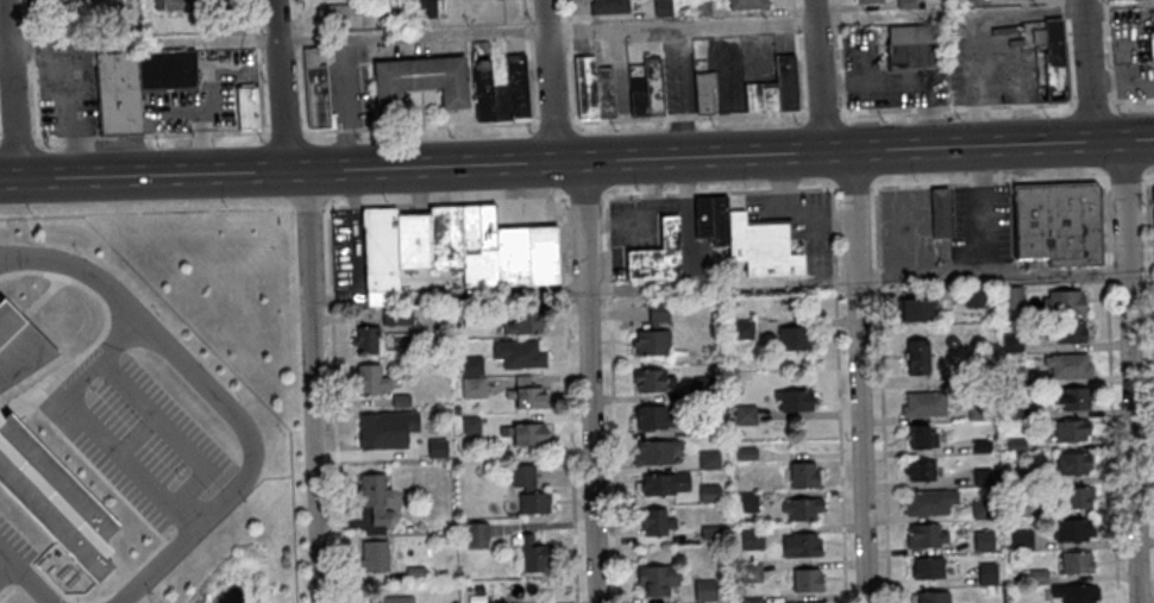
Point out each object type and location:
building: (214, 0)
building: (870, 0)
building: (978, 1)
building: (65, 2)
building: (169, 4)
building: (748, 4)
road: (791, 4)
building: (907, 4)
building: (608, 5)
road: (566, 6)
building: (700, 6)
building: (433, 7)
building: (663, 7)
road: (525, 11)
road: (297, 13)
building: (343, 13)
road: (27, 17)
road: (792, 19)
road: (567, 24)
building: (1153, 24)
road: (681, 27)
road: (526, 30)
road: (299, 36)
road: (409, 37)
building: (912, 44)
road: (30, 45)
building: (1150, 48)
road: (1065, 51)
road: (1108, 51)
building: (1047, 52)
road: (839, 56)
road: (258, 65)
building: (167, 67)
road: (798, 70)
building: (420, 77)
road: (571, 78)
building: (786, 80)
road: (531, 81)
road: (64, 84)
building: (516, 84)
road: (278, 86)
building: (482, 86)
building: (592, 87)
road: (303, 88)
building: (316, 88)
road: (10, 89)
building: (648, 89)
building: (703, 89)
building: (118, 92)
building: (761, 95)
road: (35, 99)
building: (501, 101)
building: (249, 105)
road: (577, 120)
street lamp: (797, 124)
street lamp: (615, 131)
road: (815, 150)
road: (858, 150)
road: (590, 158)
road: (545, 159)
road: (577, 161)
road: (322, 167)
street lamp: (1106, 175)
road: (1150, 175)
road: (1124, 177)
road: (1047, 180)
street lamp: (916, 181)
road: (979, 182)
road: (921, 184)
building: (1153, 184)
road: (852, 187)
street lamp: (745, 188)
street lamp: (638, 189)
road: (280, 190)
road: (719, 191)
road: (584, 196)
road: (445, 201)
street lamp: (226, 207)
street lamp: (30, 211)
road: (157, 211)
building: (940, 212)
road: (15, 214)
road: (1147, 214)
road: (1, 215)
road: (1103, 220)
building: (1059, 221)
building: (746, 237)
building: (493, 243)
building: (380, 249)
street lamp: (76, 250)
building: (657, 252)
road: (1140, 262)
road: (1148, 269)
road: (989, 272)
road: (1105, 272)
building: (1011, 295)
building: (977, 296)
road: (1125, 297)
road: (584, 299)
road: (854, 299)
building: (1065, 301)
building: (916, 306)
street lamp: (156, 312)
building: (522, 322)
building: (742, 328)
building: (653, 331)
building: (1070, 331)
building: (365, 337)
building: (794, 337)
building: (1012, 341)
building: (19, 345)
building: (518, 353)
building: (917, 356)
road: (1150, 357)
building: (1068, 364)
building: (472, 376)
building: (1015, 376)
building: (650, 378)
building: (371, 379)
road: (309, 385)
street lamp: (92, 387)
building: (705, 387)
road: (882, 394)
road: (838, 395)
street lamp: (238, 396)
building: (527, 396)
building: (1077, 397)
road: (218, 398)
road: (569, 398)
road: (613, 398)
building: (795, 400)
building: (924, 403)
road: (334, 404)
building: (1014, 409)
building: (979, 412)
building: (746, 414)
building: (654, 416)
road: (92, 422)
building: (371, 429)
building: (1071, 429)
street lamp: (281, 432)
road: (170, 433)
building: (528, 433)
building: (922, 434)
parking lot: (142, 441)
road: (1111, 441)
building: (1016, 445)
building: (981, 446)
building: (656, 451)
building: (747, 452)
building: (709, 459)
building: (1073, 463)
building: (920, 469)
building: (804, 473)
building: (1018, 476)
building: (984, 477)
street lamp: (180, 478)
building: (664, 483)
building: (529, 489)
building: (709, 492)
building: (375, 496)
building: (1078, 496)
building: (54, 498)
street lamp: (244, 501)
building: (747, 501)
building: (930, 501)
building: (802, 507)
building: (1018, 507)
building: (983, 508)
building: (656, 520)
building: (1073, 529)
building: (477, 534)
building: (926, 534)
building: (752, 538)
building: (1022, 539)
parking lot: (14, 540)
building: (984, 540)
building: (802, 544)
building: (534, 554)
building: (372, 555)
building: (1077, 560)
road: (10, 561)
building: (929, 566)
building: (751, 571)
building: (987, 572)
building: (1039, 574)
building: (658, 577)
building: (808, 579)
road: (31, 583)
building: (705, 589)
building: (1077, 591)
street lamp: (150, 592)
building: (933, 596)
building: (389, 598)
building: (752, 599)
building: (807, 602)

